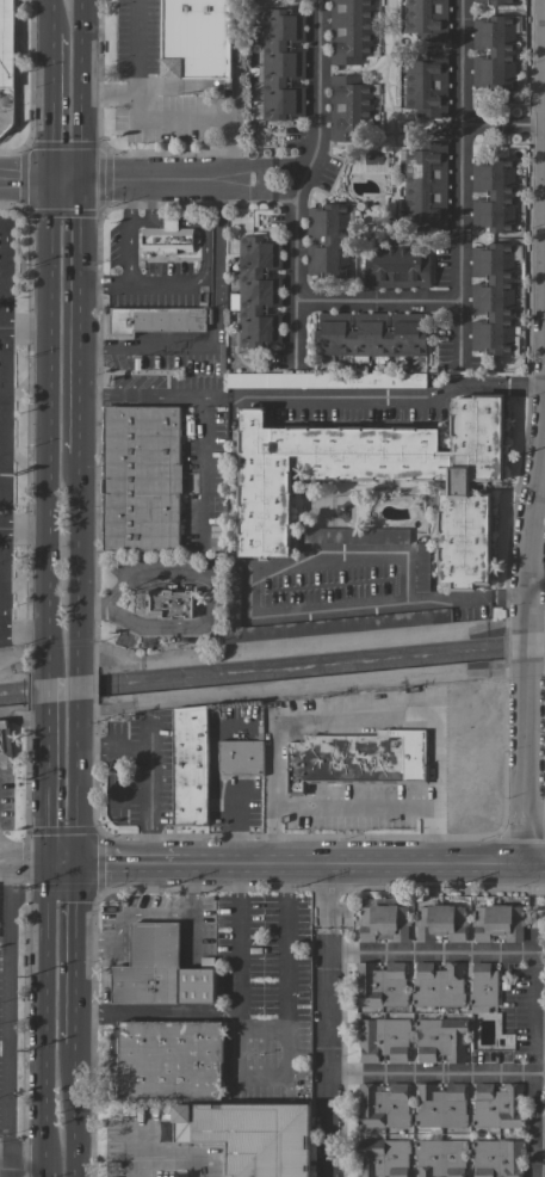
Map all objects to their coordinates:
building: (498, 2)
road: (51, 17)
building: (427, 19)
building: (351, 31)
building: (196, 39)
building: (6, 43)
building: (494, 53)
building: (281, 64)
road: (138, 75)
building: (426, 85)
road: (82, 90)
road: (51, 107)
building: (349, 107)
road: (205, 121)
road: (500, 125)
building: (372, 162)
traffic signals: (51, 180)
road: (299, 180)
traffic signals: (82, 181)
road: (149, 181)
road: (457, 181)
building: (426, 186)
building: (494, 196)
road: (126, 201)
road: (150, 201)
road: (166, 220)
road: (2, 228)
building: (166, 238)
building: (328, 240)
building: (396, 266)
road: (142, 284)
building: (258, 292)
building: (494, 300)
road: (374, 302)
road: (81, 318)
road: (25, 320)
building: (156, 321)
road: (217, 332)
building: (370, 335)
building: (326, 380)
road: (524, 386)
road: (116, 394)
road: (188, 395)
road: (367, 399)
road: (1, 427)
road: (49, 429)
road: (202, 466)
building: (378, 477)
building: (140, 479)
road: (534, 500)
road: (0, 524)
road: (25, 524)
building: (354, 536)
road: (79, 556)
road: (296, 556)
building: (421, 567)
building: (231, 590)
road: (534, 591)
road: (507, 597)
road: (210, 599)
building: (168, 603)
road: (92, 605)
road: (24, 628)
road: (299, 643)
road: (520, 651)
road: (78, 690)
building: (544, 691)
road: (48, 700)
road: (359, 717)
building: (5, 741)
building: (240, 757)
building: (414, 758)
building: (343, 760)
building: (190, 765)
road: (519, 769)
road: (143, 776)
road: (45, 793)
road: (76, 793)
road: (23, 854)
traffic signals: (44, 865)
road: (60, 865)
traffic signals: (75, 865)
road: (125, 865)
road: (360, 865)
road: (23, 873)
road: (328, 896)
building: (383, 923)
building: (440, 923)
building: (497, 923)
road: (74, 953)
road: (429, 954)
building: (160, 969)
building: (379, 985)
building: (438, 985)
building: (482, 988)
road: (157, 1011)
road: (8, 1016)
road: (42, 1019)
road: (261, 1028)
building: (383, 1040)
building: (440, 1040)
road: (327, 1053)
road: (531, 1056)
building: (169, 1059)
road: (281, 1074)
road: (428, 1076)
building: (440, 1105)
building: (382, 1107)
building: (497, 1107)
road: (73, 1109)
building: (250, 1135)
road: (132, 1150)
building: (383, 1157)
building: (440, 1158)
building: (497, 1158)
road: (20, 1159)
road: (172, 1159)
road: (179, 1166)
road: (7, 1167)
road: (178, 1175)
road: (42, 1176)

